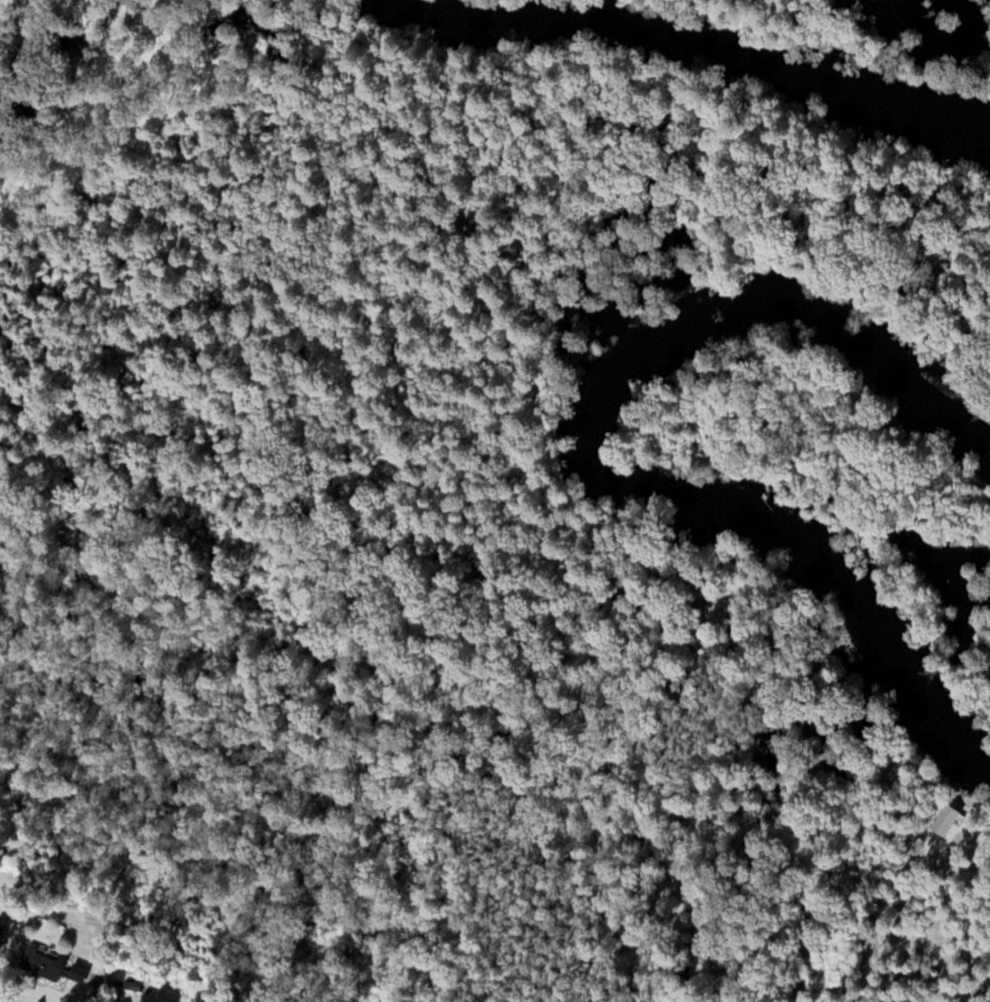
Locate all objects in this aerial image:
building: (41, 964)

